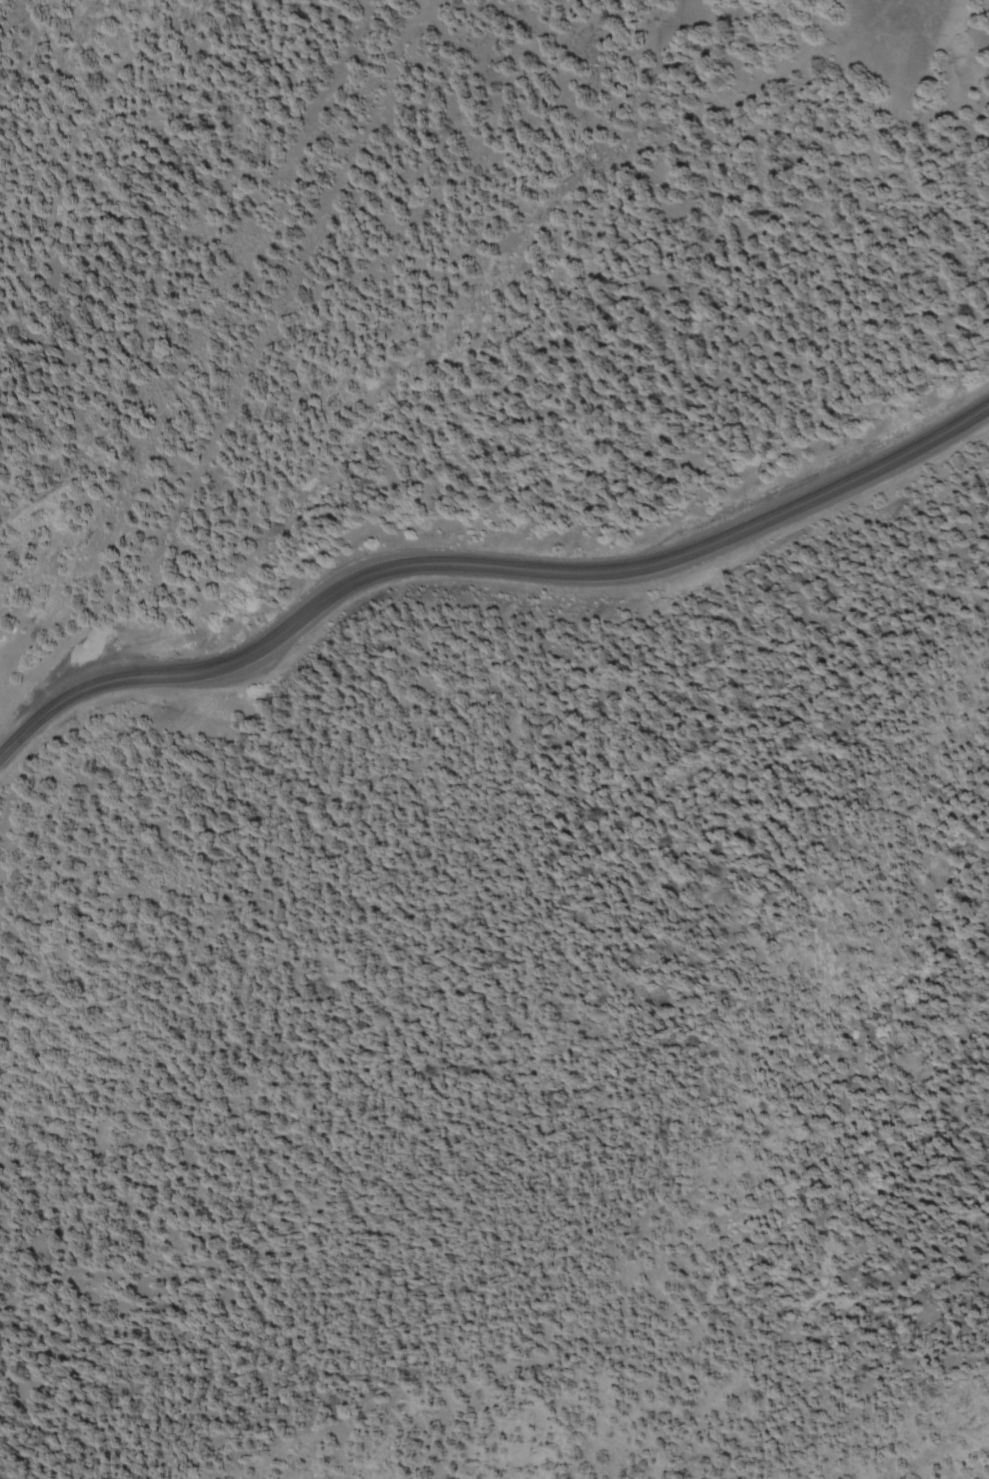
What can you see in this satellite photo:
road: (484, 565)

